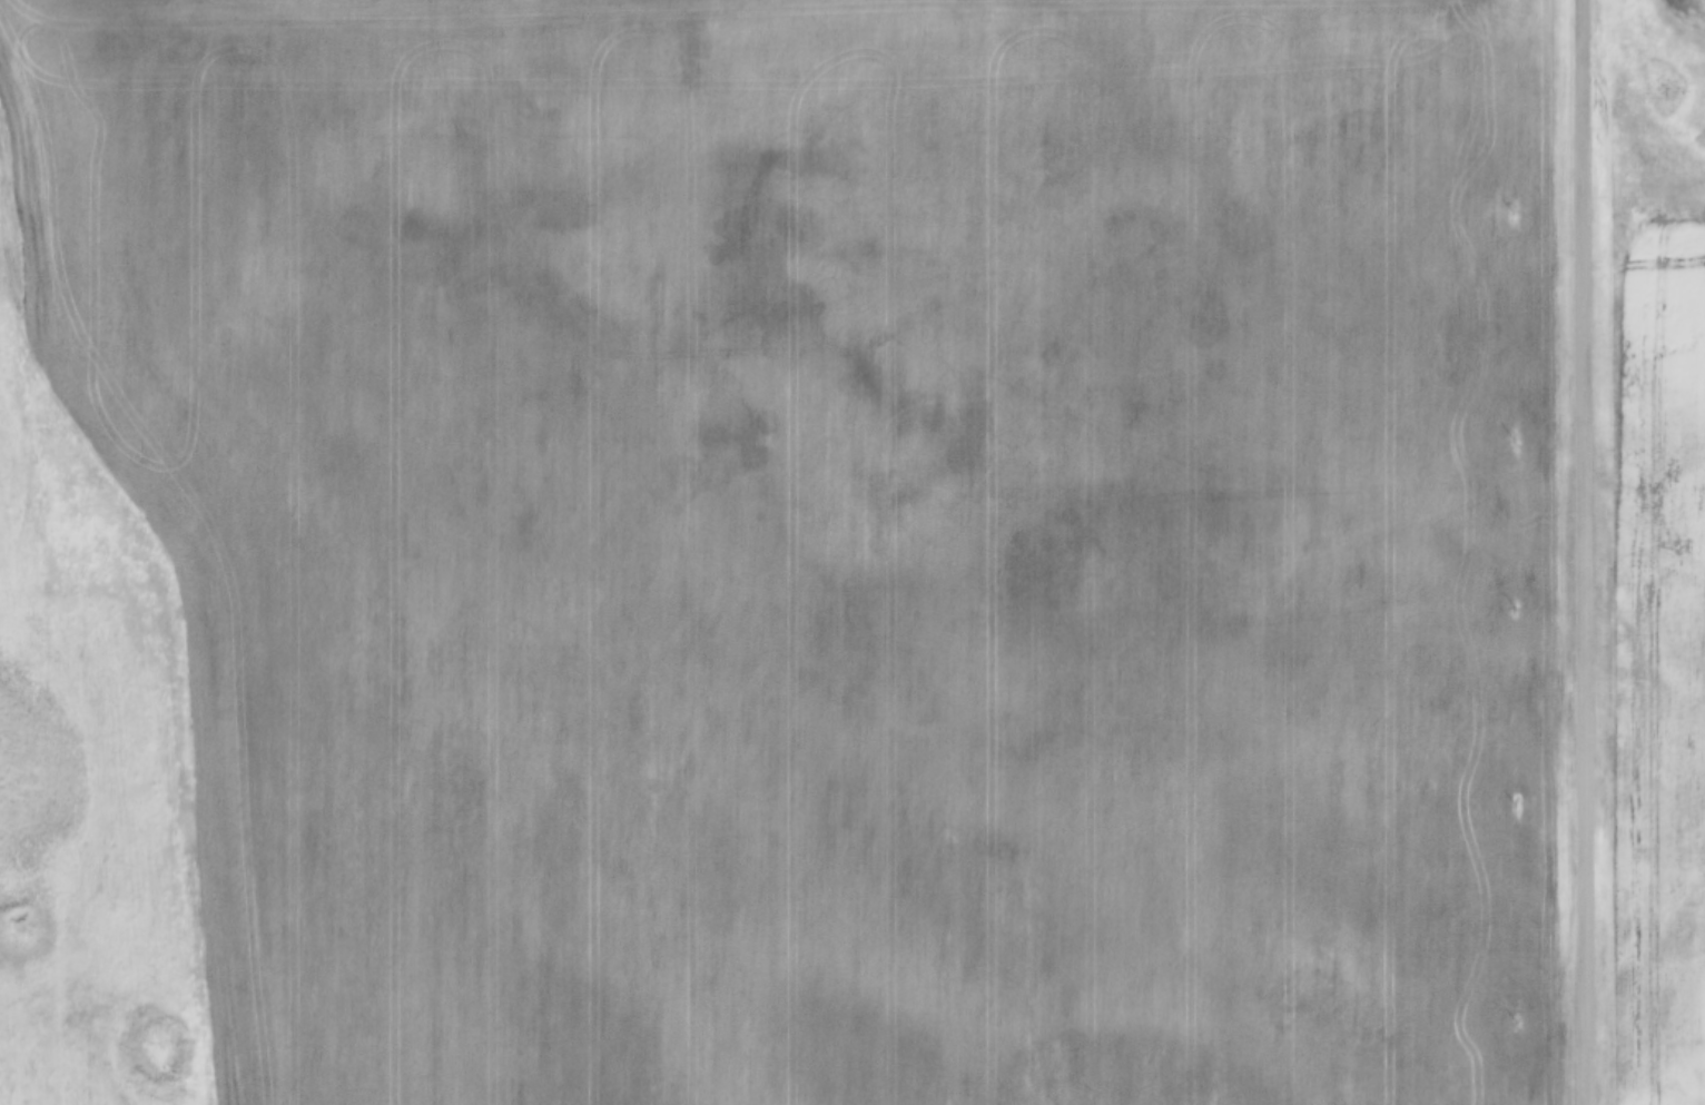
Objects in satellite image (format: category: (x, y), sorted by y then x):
road: (1580, 552)

